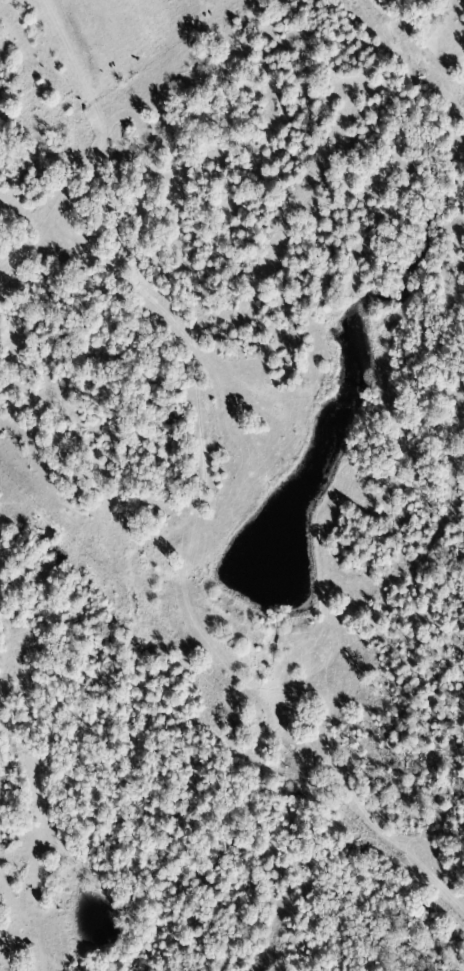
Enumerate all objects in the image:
road: (33, 791)

